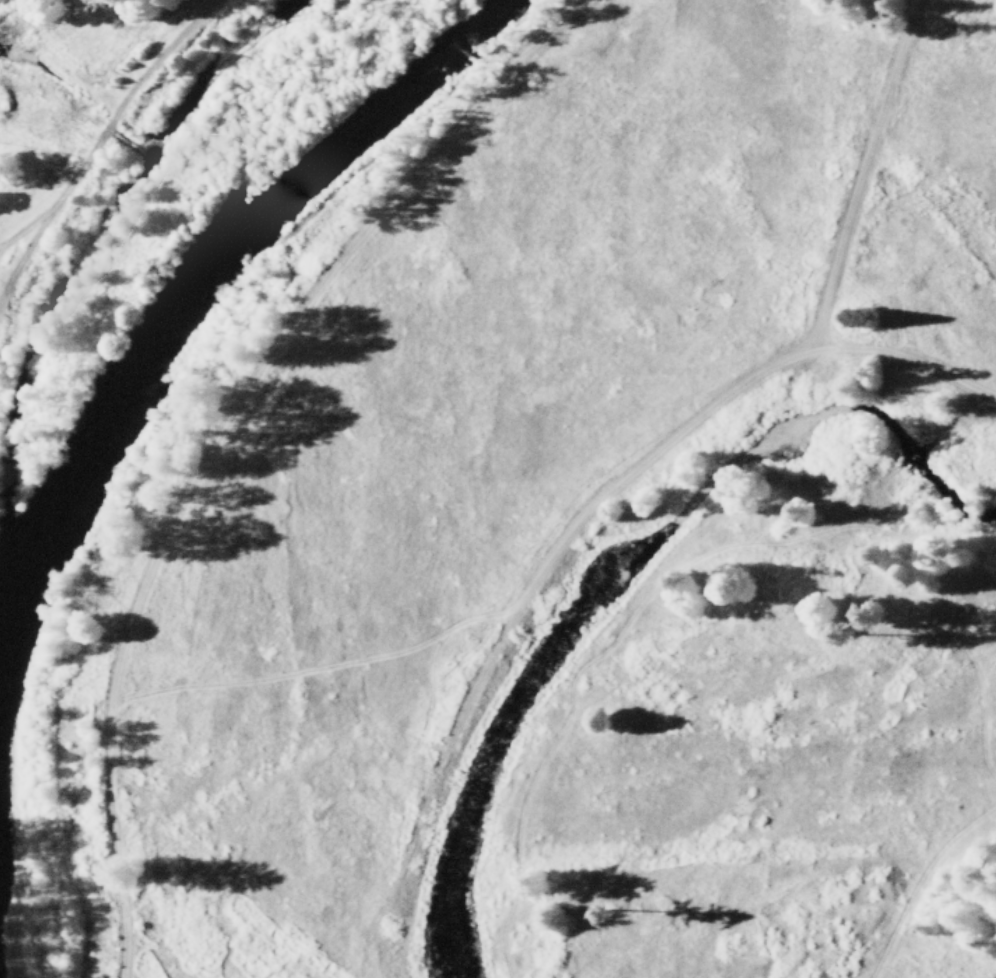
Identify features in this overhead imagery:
river: (203, 283)
river: (3, 939)

